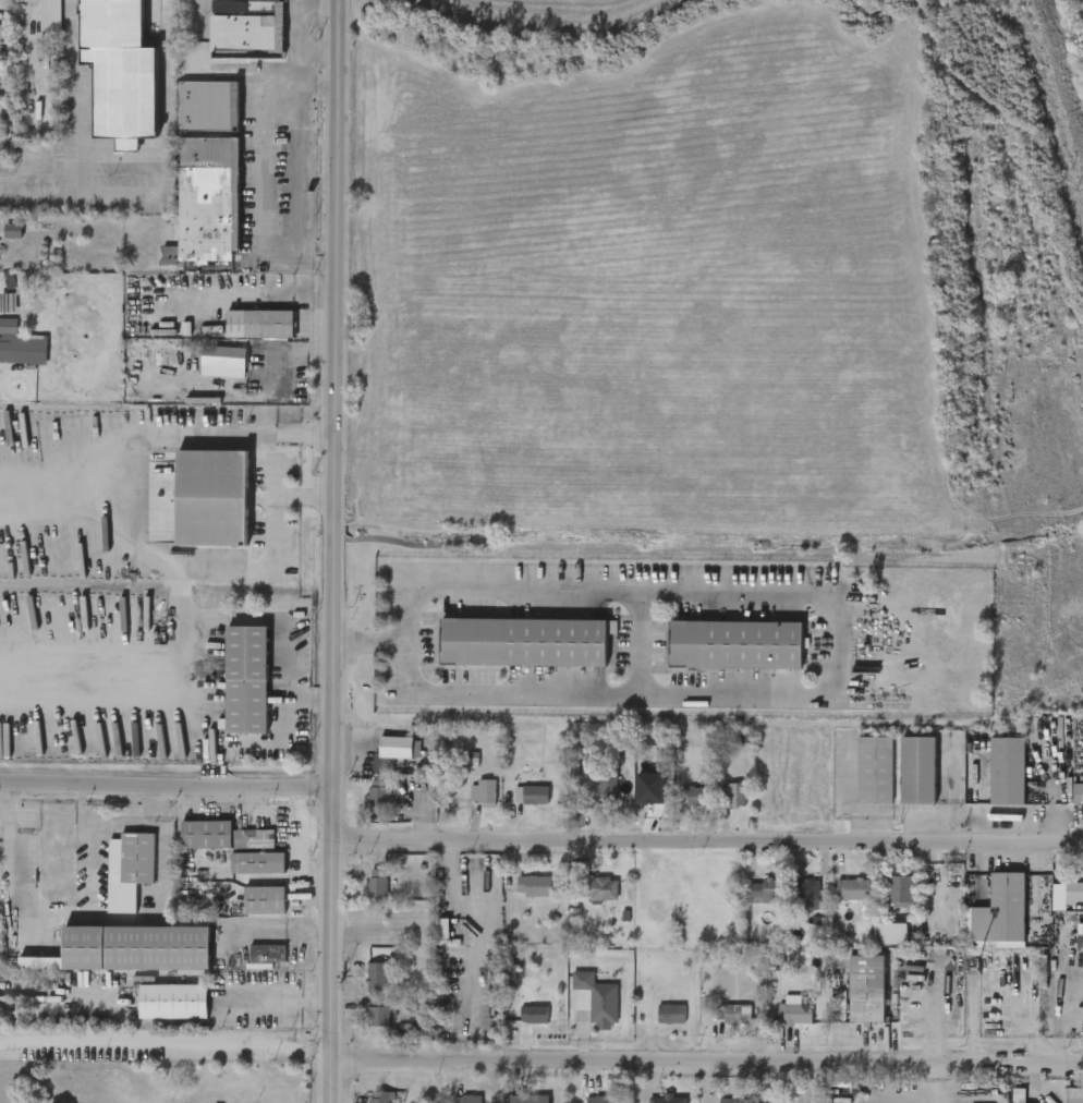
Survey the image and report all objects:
road: (27, 7)
building: (250, 7)
building: (51, 16)
road: (305, 35)
building: (246, 37)
road: (317, 53)
building: (121, 71)
building: (208, 106)
road: (265, 167)
road: (301, 170)
building: (206, 202)
building: (13, 230)
road: (267, 291)
building: (258, 325)
building: (20, 343)
building: (222, 357)
building: (212, 498)
road: (120, 531)
road: (331, 551)
road: (183, 595)
road: (184, 632)
road: (829, 634)
road: (353, 640)
building: (526, 642)
building: (732, 644)
building: (245, 680)
road: (93, 681)
building: (397, 748)
building: (875, 771)
building: (916, 771)
building: (1006, 771)
building: (608, 783)
road: (166, 787)
building: (650, 789)
building: (482, 792)
building: (378, 793)
building: (1078, 793)
building: (733, 795)
building: (532, 796)
building: (699, 797)
building: (221, 836)
road: (708, 841)
road: (90, 849)
building: (257, 863)
building: (127, 870)
road: (23, 883)
road: (162, 884)
building: (376, 884)
building: (535, 887)
building: (601, 889)
building: (900, 889)
building: (853, 890)
building: (765, 892)
building: (807, 893)
building: (1073, 893)
building: (265, 900)
building: (1001, 910)
building: (376, 929)
building: (442, 929)
building: (892, 933)
building: (138, 947)
building: (266, 954)
building: (376, 977)
building: (863, 986)
building: (595, 999)
building: (172, 1002)
road: (279, 1003)
building: (795, 1013)
building: (670, 1014)
building: (534, 1015)
building: (739, 1015)
building: (377, 1016)
road: (167, 1043)
road: (708, 1062)
building: (1020, 1095)
building: (1073, 1095)
building: (384, 1098)
building: (528, 1099)
building: (827, 1099)
building: (466, 1100)
building: (606, 1100)
building: (667, 1100)
building: (737, 1101)

